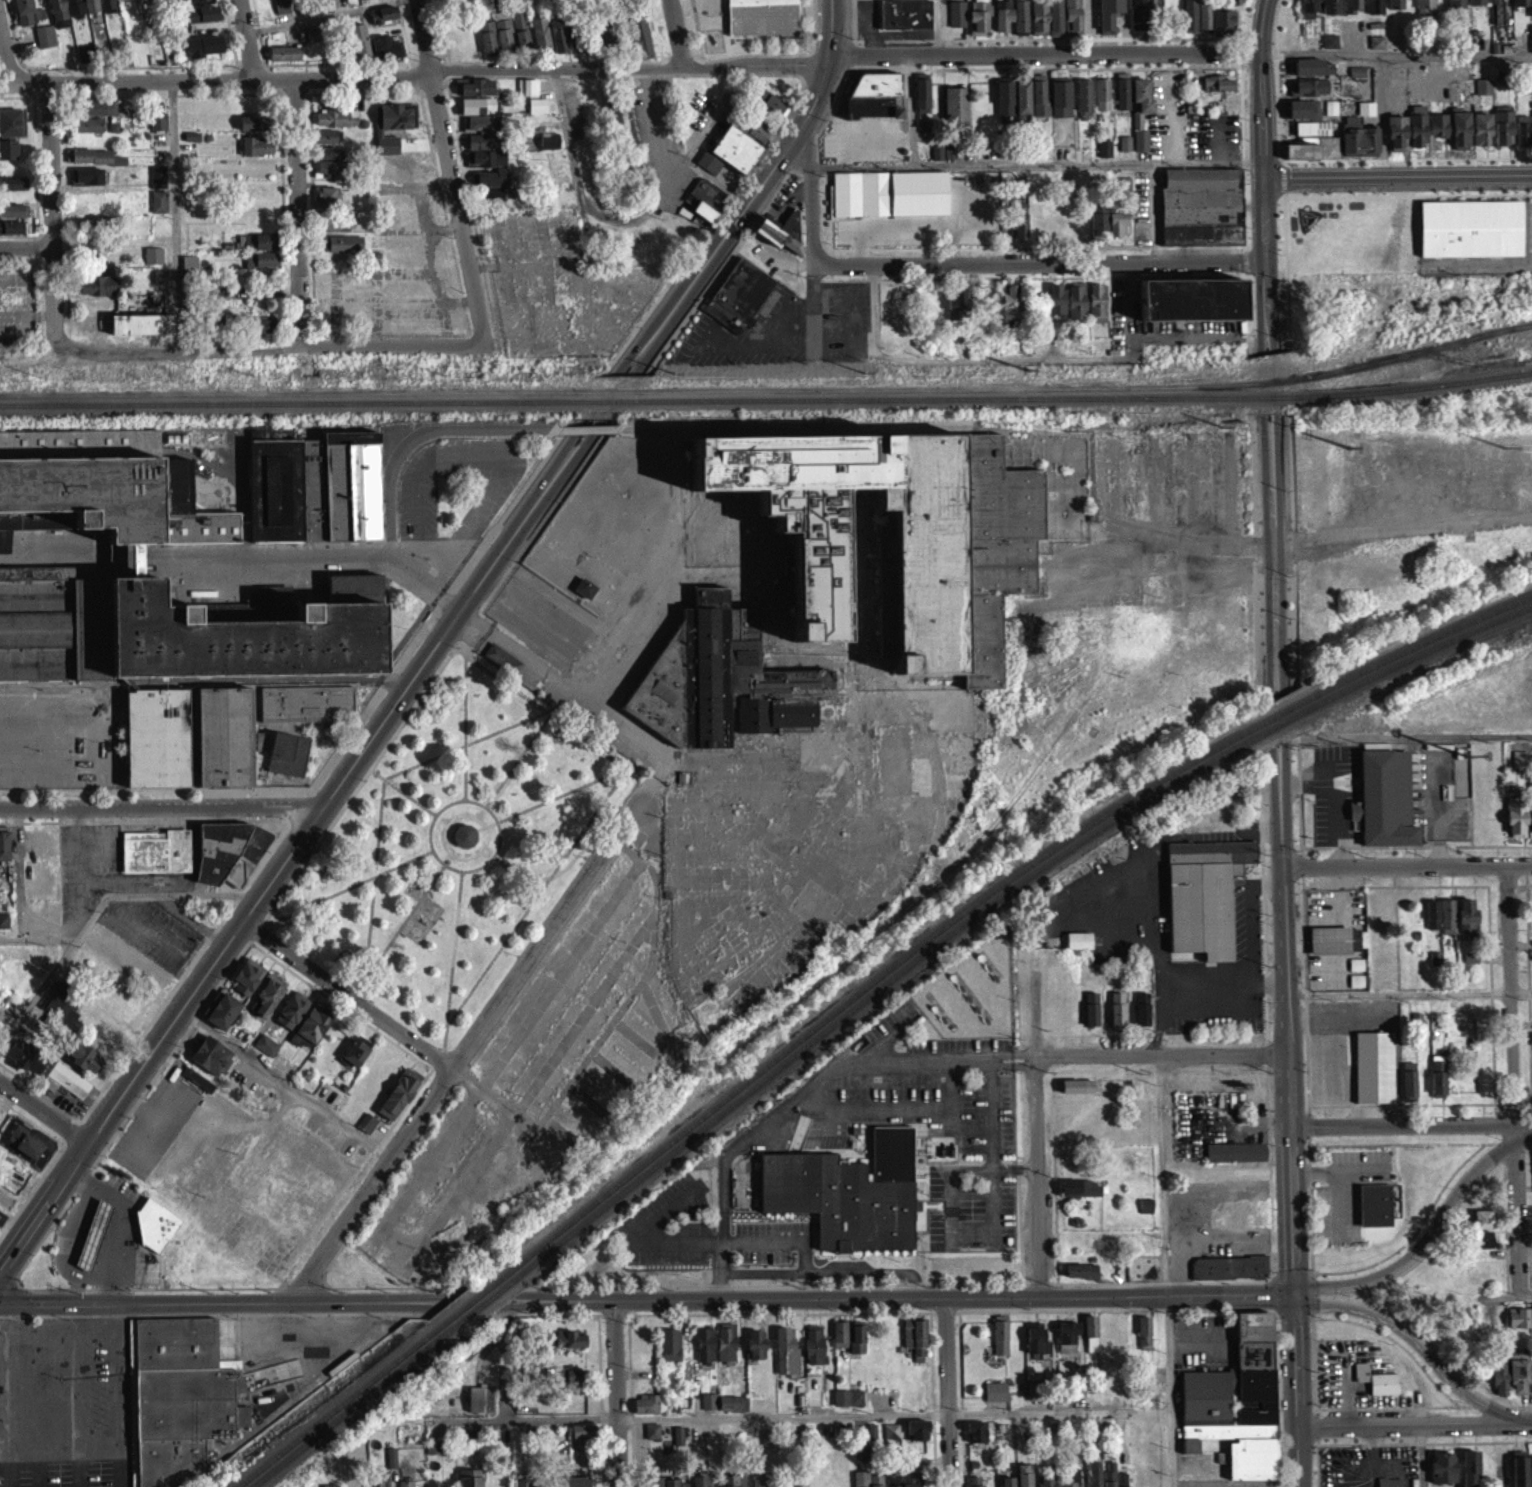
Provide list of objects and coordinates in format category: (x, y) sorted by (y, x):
building: (375, 0)
building: (121, 1)
building: (872, 1)
building: (1477, 6)
building: (1521, 6)
building: (1395, 7)
building: (1456, 7)
building: (1425, 8)
building: (89, 9)
building: (105, 9)
building: (1351, 9)
building: (281, 10)
building: (1330, 10)
building: (1373, 10)
building: (72, 11)
building: (1309, 13)
building: (905, 14)
road: (321, 15)
building: (1108, 15)
building: (25, 16)
building: (762, 16)
building: (57, 17)
building: (1138, 18)
building: (1071, 20)
building: (202, 21)
building: (383, 21)
building: (956, 21)
building: (1002, 22)
building: (1054, 22)
building: (1195, 22)
building: (978, 23)
building: (1019, 23)
building: (1038, 24)
road: (1263, 24)
road: (831, 27)
building: (1222, 29)
road: (443, 30)
road: (678, 33)
building: (519, 37)
road: (247, 38)
building: (503, 38)
road: (1049, 38)
building: (539, 40)
road: (658, 40)
building: (311, 42)
building: (557, 42)
building: (44, 43)
building: (486, 43)
building: (638, 45)
building: (357, 47)
building: (574, 47)
building: (1330, 48)
building: (1377, 49)
road: (1045, 52)
road: (1396, 52)
building: (203, 53)
road: (751, 53)
road: (681, 54)
road: (859, 54)
building: (385, 55)
road: (7, 56)
building: (283, 60)
road: (546, 60)
road: (758, 64)
road: (799, 64)
building: (1314, 65)
road: (1065, 67)
road: (450, 68)
road: (557, 68)
building: (1359, 70)
building: (1310, 74)
road: (493, 75)
road: (215, 78)
building: (1357, 78)
building: (1441, 78)
building: (876, 83)
building: (1485, 85)
building: (1311, 86)
road: (1278, 88)
building: (1218, 90)
building: (1483, 93)
building: (526, 94)
building: (1309, 94)
building: (478, 95)
building: (1121, 97)
building: (921, 99)
building: (773, 101)
building: (1101, 101)
building: (1140, 101)
building: (1038, 102)
building: (1021, 104)
building: (871, 105)
building: (1059, 105)
building: (1082, 106)
building: (1333, 106)
building: (1367, 106)
building: (1305, 108)
building: (770, 109)
road: (911, 109)
building: (1003, 109)
building: (954, 111)
building: (476, 112)
building: (536, 112)
road: (1263, 112)
building: (96, 114)
road: (830, 114)
building: (1366, 115)
building: (611, 118)
building: (392, 122)
building: (1439, 123)
building: (1419, 124)
building: (1504, 124)
building: (336, 125)
building: (1314, 127)
building: (1461, 127)
building: (1483, 127)
building: (1524, 128)
building: (11, 129)
building: (252, 129)
building: (157, 130)
building: (759, 130)
building: (482, 131)
building: (1398, 131)
building: (87, 132)
building: (328, 135)
building: (1312, 135)
building: (753, 136)
building: (1359, 136)
road: (857, 138)
road: (907, 138)
parking lot: (865, 139)
building: (1141, 139)
building: (1125, 141)
building: (325, 143)
building: (1085, 144)
building: (1330, 146)
building: (1104, 147)
building: (478, 148)
building: (548, 149)
building: (731, 149)
building: (1301, 149)
building: (951, 150)
building: (1124, 150)
building: (938, 151)
building: (256, 153)
road: (805, 153)
building: (1103, 156)
building: (13, 157)
building: (936, 159)
building: (949, 159)
road: (1408, 159)
building: (325, 160)
building: (91, 164)
building: (486, 165)
road: (1037, 165)
road: (450, 173)
building: (326, 176)
road: (1398, 177)
building: (380, 178)
building: (409, 179)
building: (85, 183)
building: (157, 183)
building: (12, 190)
building: (1123, 191)
building: (493, 192)
building: (888, 192)
road: (1399, 193)
building: (706, 197)
building: (326, 203)
road: (830, 207)
building: (158, 209)
road: (742, 209)
road: (54, 210)
road: (296, 212)
road: (1153, 213)
building: (1201, 214)
road: (173, 215)
building: (13, 218)
road: (1264, 219)
building: (1471, 226)
building: (1017, 227)
building: (1106, 229)
building: (781, 231)
building: (335, 232)
building: (10, 235)
road: (813, 241)
road: (1287, 241)
road: (1120, 246)
building: (257, 248)
road: (18, 251)
road: (46, 251)
building: (342, 251)
building: (152, 262)
road: (1038, 263)
building: (261, 267)
building: (189, 270)
building: (96, 292)
building: (740, 294)
road: (1265, 298)
building: (1056, 306)
building: (1191, 307)
building: (957, 308)
building: (1010, 309)
building: (1076, 309)
building: (1097, 310)
road: (784, 313)
road: (851, 315)
parking lot: (846, 319)
building: (140, 331)
building: (265, 332)
parking lot: (752, 335)
road: (875, 338)
road: (744, 345)
road: (392, 346)
road: (177, 351)
road: (1262, 385)
road: (1274, 385)
railway: (1419, 386)
road: (636, 389)
railway: (1275, 395)
railway: (945, 396)
railway: (612, 400)
railway: (288, 402)
road: (593, 404)
road: (604, 412)
building: (204, 446)
building: (352, 483)
building: (276, 489)
building: (313, 489)
building: (89, 490)
building: (190, 508)
building: (897, 528)
building: (134, 557)
road: (1273, 559)
road: (471, 560)
building: (585, 587)
building: (583, 595)
traffic signals: (456, 615)
building: (91, 626)
building: (36, 627)
road: (469, 627)
building: (245, 632)
railway: (1418, 645)
road: (463, 648)
railway: (1419, 655)
building: (501, 666)
building: (721, 679)
building: (131, 681)
road: (563, 686)
building: (306, 702)
railway: (1283, 711)
road: (554, 712)
road: (1284, 718)
road: (520, 719)
road: (1272, 719)
railway: (1284, 720)
road: (465, 725)
parking lot: (36, 734)
building: (224, 735)
building: (157, 736)
building: (288, 752)
building: (1519, 765)
road: (359, 780)
road: (402, 790)
road: (557, 799)
road: (298, 805)
building: (1383, 807)
road: (161, 808)
building: (1516, 826)
road: (590, 830)
building: (465, 833)
building: (462, 843)
park: (453, 844)
building: (155, 850)
building: (229, 850)
building: (4, 852)
road: (493, 853)
road: (281, 865)
road: (1407, 867)
road: (17, 873)
road: (349, 884)
parking lot: (118, 896)
building: (1202, 905)
building: (1431, 922)
building: (1465, 922)
building: (1446, 924)
building: (3, 928)
road: (37, 938)
building: (1336, 947)
building: (1078, 948)
road: (363, 956)
building: (1470, 965)
railway: (873, 982)
building: (246, 984)
railway: (881, 987)
road: (37, 992)
road: (1409, 992)
road: (346, 995)
road: (465, 996)
building: (266, 1003)
building: (62, 1011)
building: (1091, 1016)
building: (1141, 1016)
building: (291, 1017)
building: (222, 1018)
building: (1117, 1018)
road: (1288, 1024)
road: (482, 1025)
building: (310, 1034)
road: (444, 1048)
building: (266, 1051)
road: (1164, 1051)
building: (354, 1058)
building: (24, 1063)
building: (210, 1063)
building: (82, 1064)
building: (1373, 1075)
road: (1513, 1077)
building: (197, 1086)
building: (1436, 1086)
building: (64, 1087)
building: (1408, 1089)
building: (1076, 1093)
road: (805, 1094)
building: (398, 1101)
road: (43, 1111)
road: (1402, 1123)
road: (1523, 1123)
road: (1040, 1128)
building: (366, 1130)
building: (1235, 1159)
road: (989, 1160)
road: (931, 1177)
building: (1080, 1195)
building: (846, 1200)
building: (1374, 1212)
building: (1145, 1213)
road: (117, 1221)
building: (2, 1224)
road: (1439, 1224)
building: (1481, 1226)
building: (154, 1234)
building: (92, 1242)
road: (1215, 1244)
building: (1480, 1247)
road: (704, 1250)
road: (1526, 1252)
building: (1228, 1275)
building: (1080, 1278)
road: (816, 1281)
road: (914, 1288)
road: (481, 1292)
traffic signals: (1292, 1292)
road: (1311, 1292)
railway: (477, 1295)
railway: (493, 1295)
road: (217, 1296)
road: (909, 1296)
road: (1522, 1298)
road: (480, 1302)
building: (1531, 1321)
building: (1517, 1325)
building: (1143, 1340)
building: (839, 1341)
building: (1090, 1341)
building: (177, 1342)
building: (999, 1342)
building: (914, 1344)
building: (1066, 1344)
building: (856, 1346)
building: (1035, 1346)
building: (568, 1347)
building: (669, 1351)
building: (704, 1351)
building: (754, 1351)
building: (814, 1352)
road: (1433, 1352)
building: (785, 1360)
road: (9, 1361)
building: (1517, 1377)
building: (1360, 1379)
building: (574, 1383)
building: (1255, 1384)
building: (1499, 1386)
road: (1296, 1389)
road: (944, 1391)
building: (1382, 1391)
road: (119, 1392)
road: (614, 1393)
building: (1031, 1398)
building: (994, 1399)
building: (186, 1402)
railway: (342, 1403)
railway: (358, 1403)
building: (847, 1405)
building: (479, 1407)
building: (708, 1408)
building: (732, 1411)
building: (645, 1412)
road: (38, 1413)
road: (79, 1413)
building: (1211, 1414)
road: (532, 1418)
road: (1090, 1419)
road: (780, 1423)
parking lot: (59, 1425)
road: (1414, 1426)
building: (916, 1437)
building: (651, 1438)
building: (890, 1439)
building: (975, 1439)
building: (581, 1443)
building: (677, 1443)
road: (60, 1453)
building: (1188, 1453)
building: (432, 1455)
road: (1420, 1456)
road: (552, 1457)
road: (1318, 1457)
building: (172, 1461)
building: (391, 1465)
building: (1250, 1467)
building: (1469, 1472)
building: (1442, 1473)
building: (1521, 1475)
building: (1093, 1477)
building: (1108, 1478)
building: (1022, 1479)
building: (468, 1481)
building: (1072, 1481)
building: (381, 1483)
building: (865, 1483)
building: (907, 1483)
building: (732, 1484)
building: (892, 1484)
building: (1120, 1484)
building: (572, 1485)
building: (701, 1485)
building: (760, 1485)
building: (974, 1485)
building: (1044, 1485)
building: (436, 1486)
building: (522, 1486)
building: (663, 1486)
building: (789, 1486)
building: (1005, 1486)
building: (1388, 1486)

